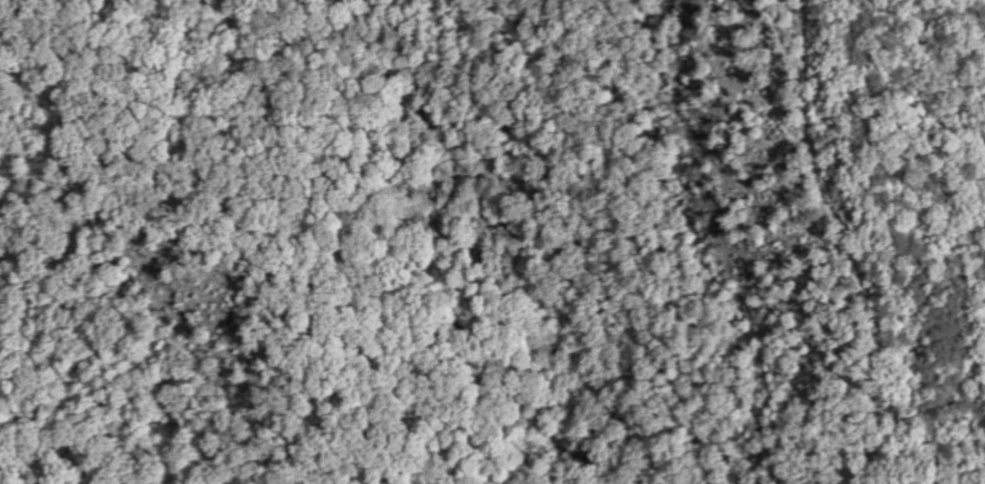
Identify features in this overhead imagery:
road: (844, 242)

